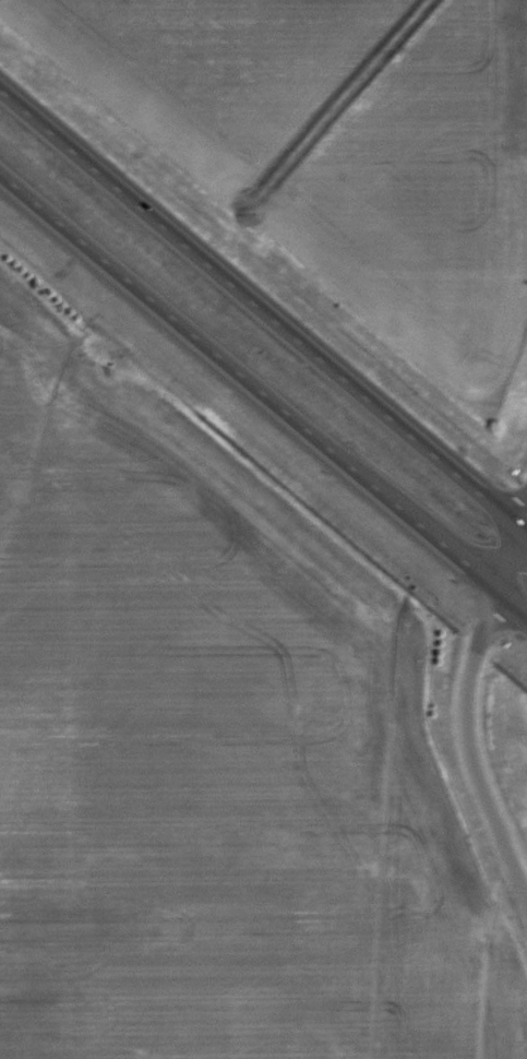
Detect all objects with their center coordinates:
road: (263, 306)
road: (263, 400)
road: (462, 697)

